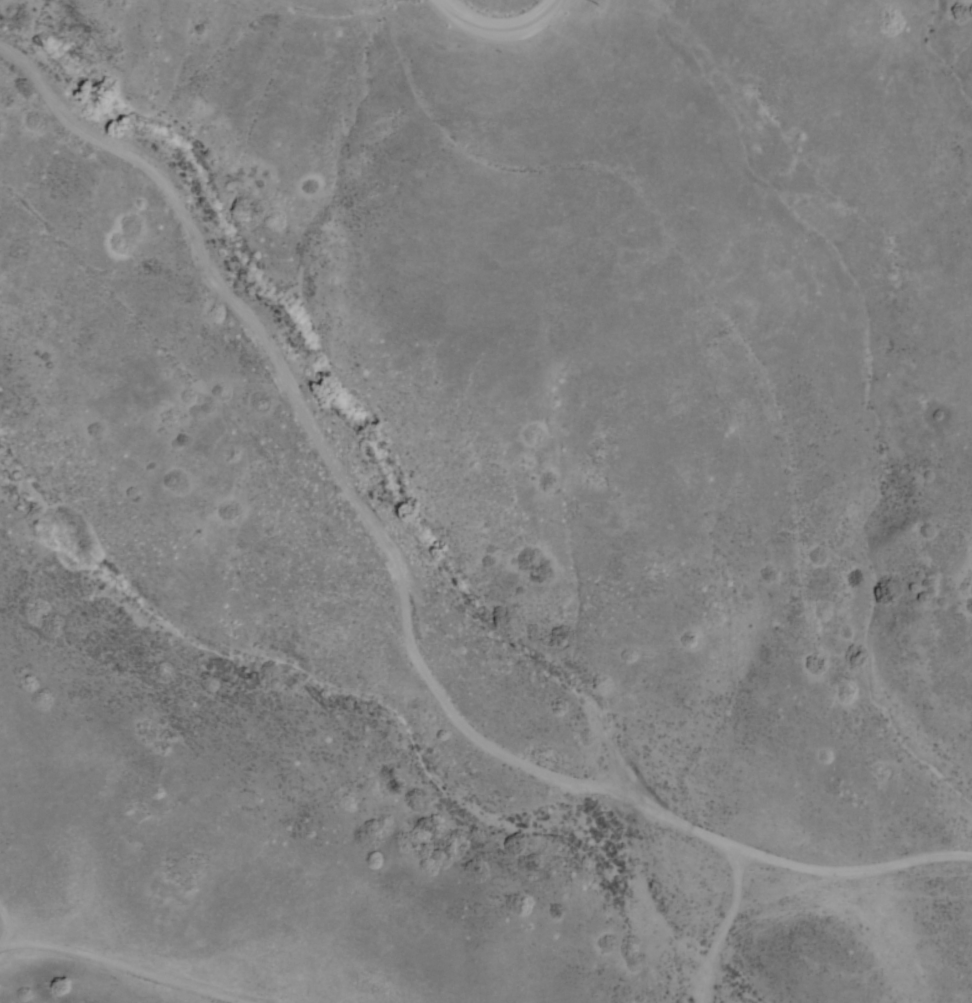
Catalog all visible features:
road: (499, 22)
road: (699, 347)
road: (400, 589)
road: (738, 911)
road: (123, 965)

